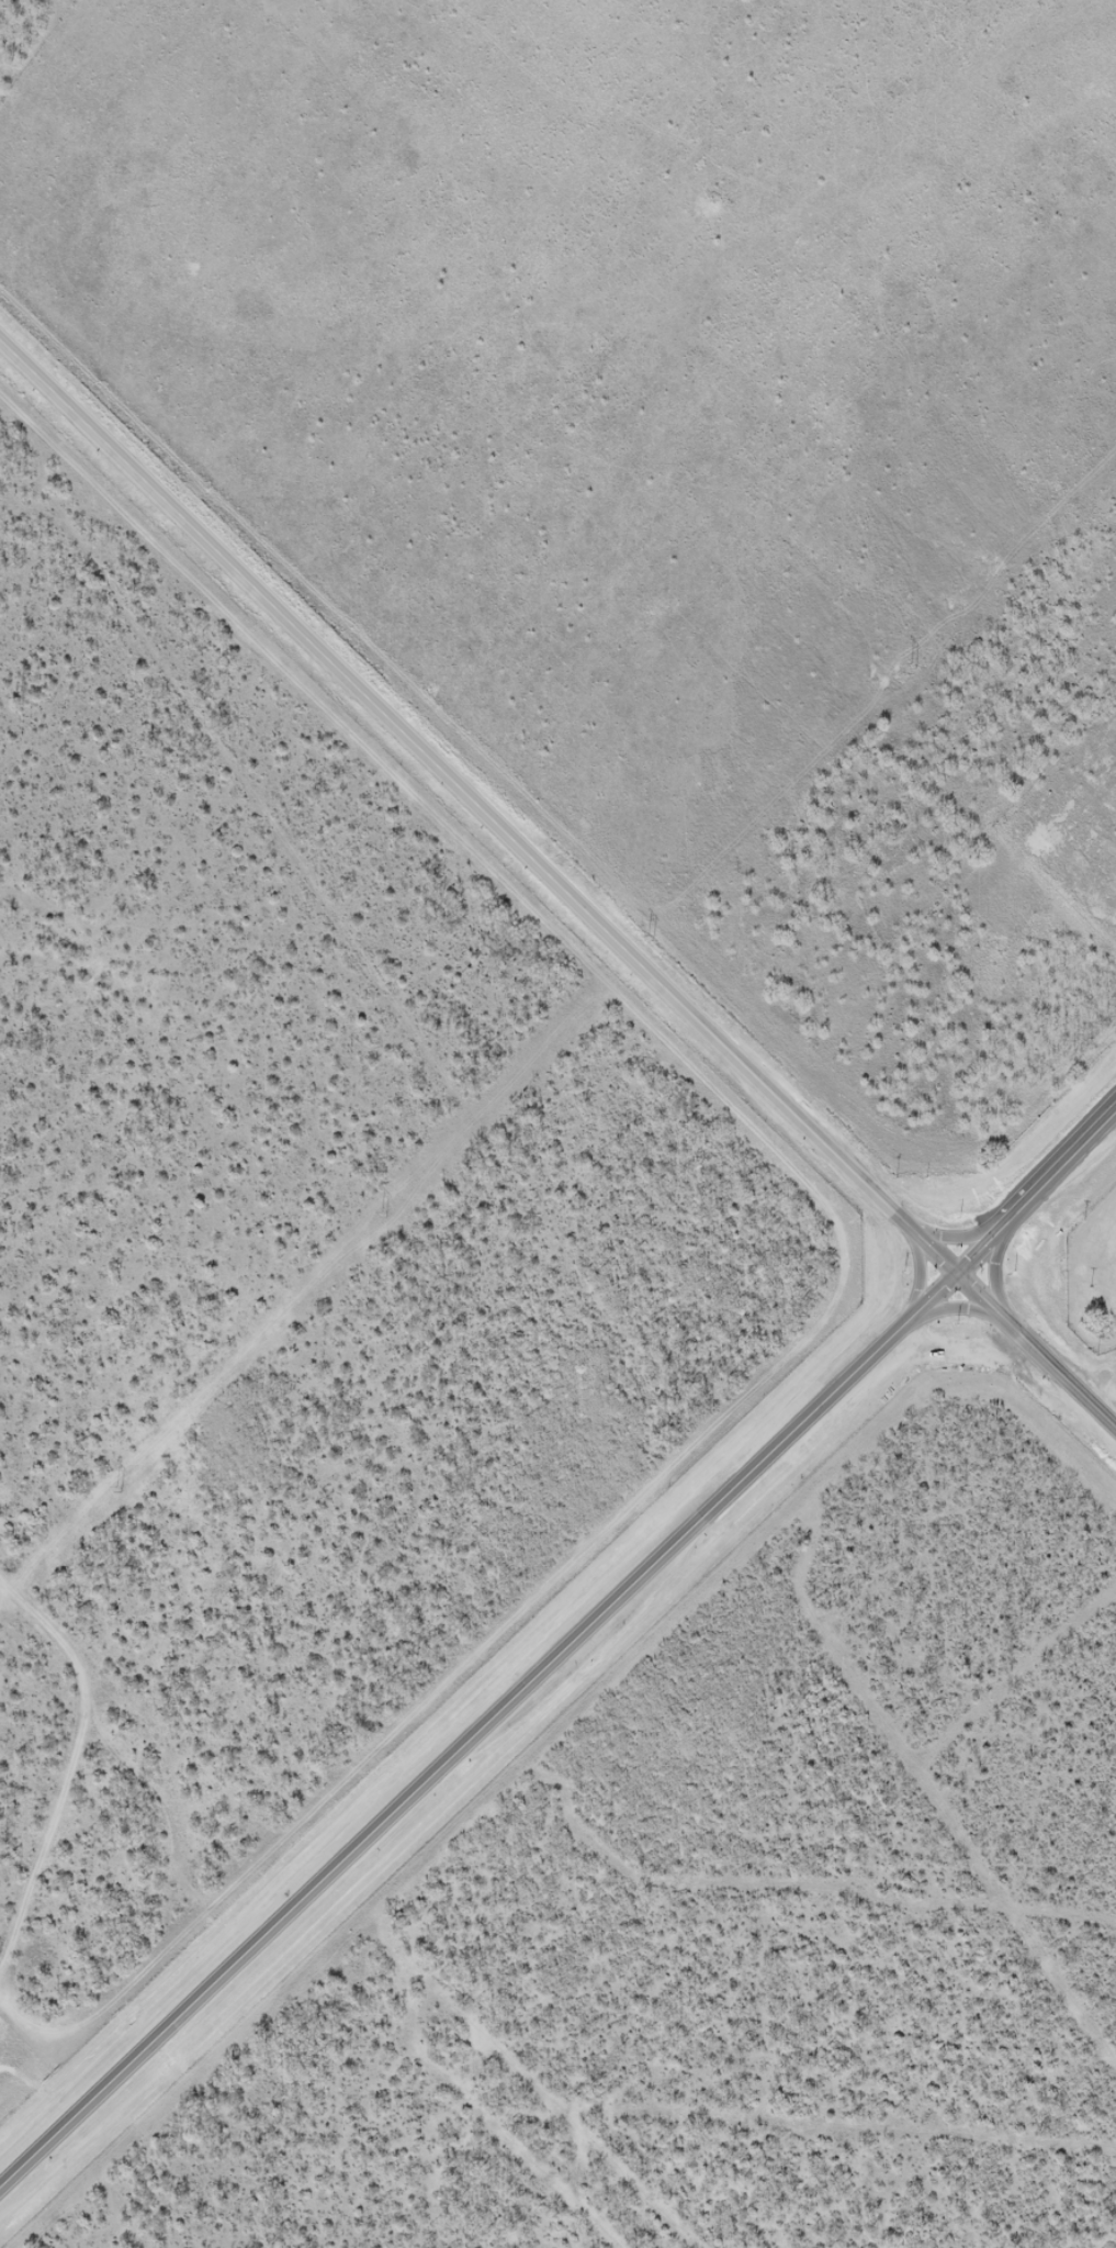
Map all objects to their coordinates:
power tower: (914, 667)
road: (557, 890)
power tower: (650, 940)
road: (1034, 1194)
power tower: (384, 1216)
road: (1106, 1413)
power tower: (117, 1491)
road: (476, 1732)

